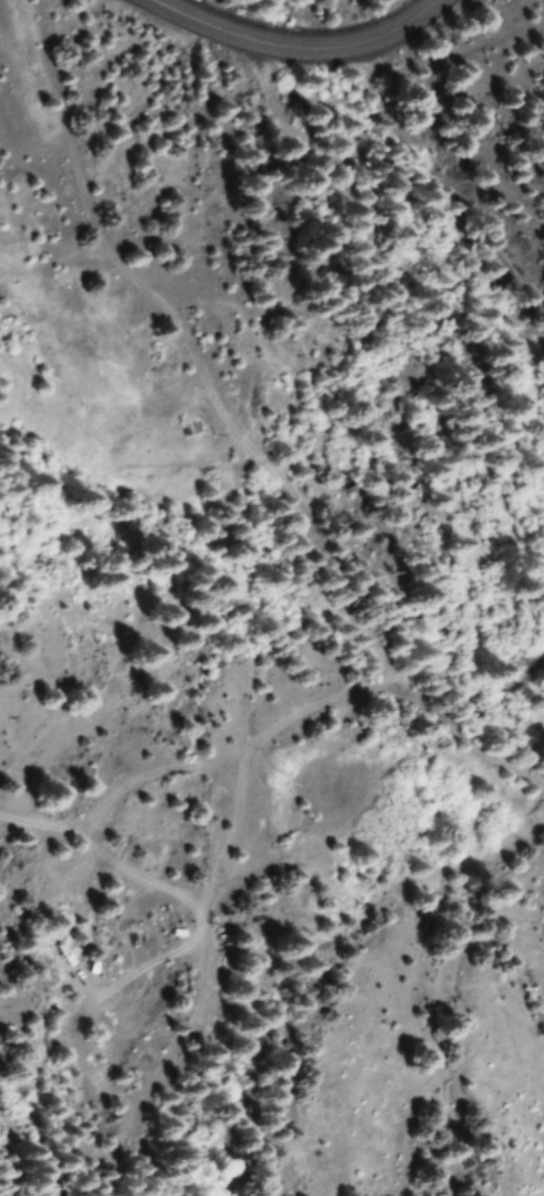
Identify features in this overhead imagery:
road: (297, 45)

